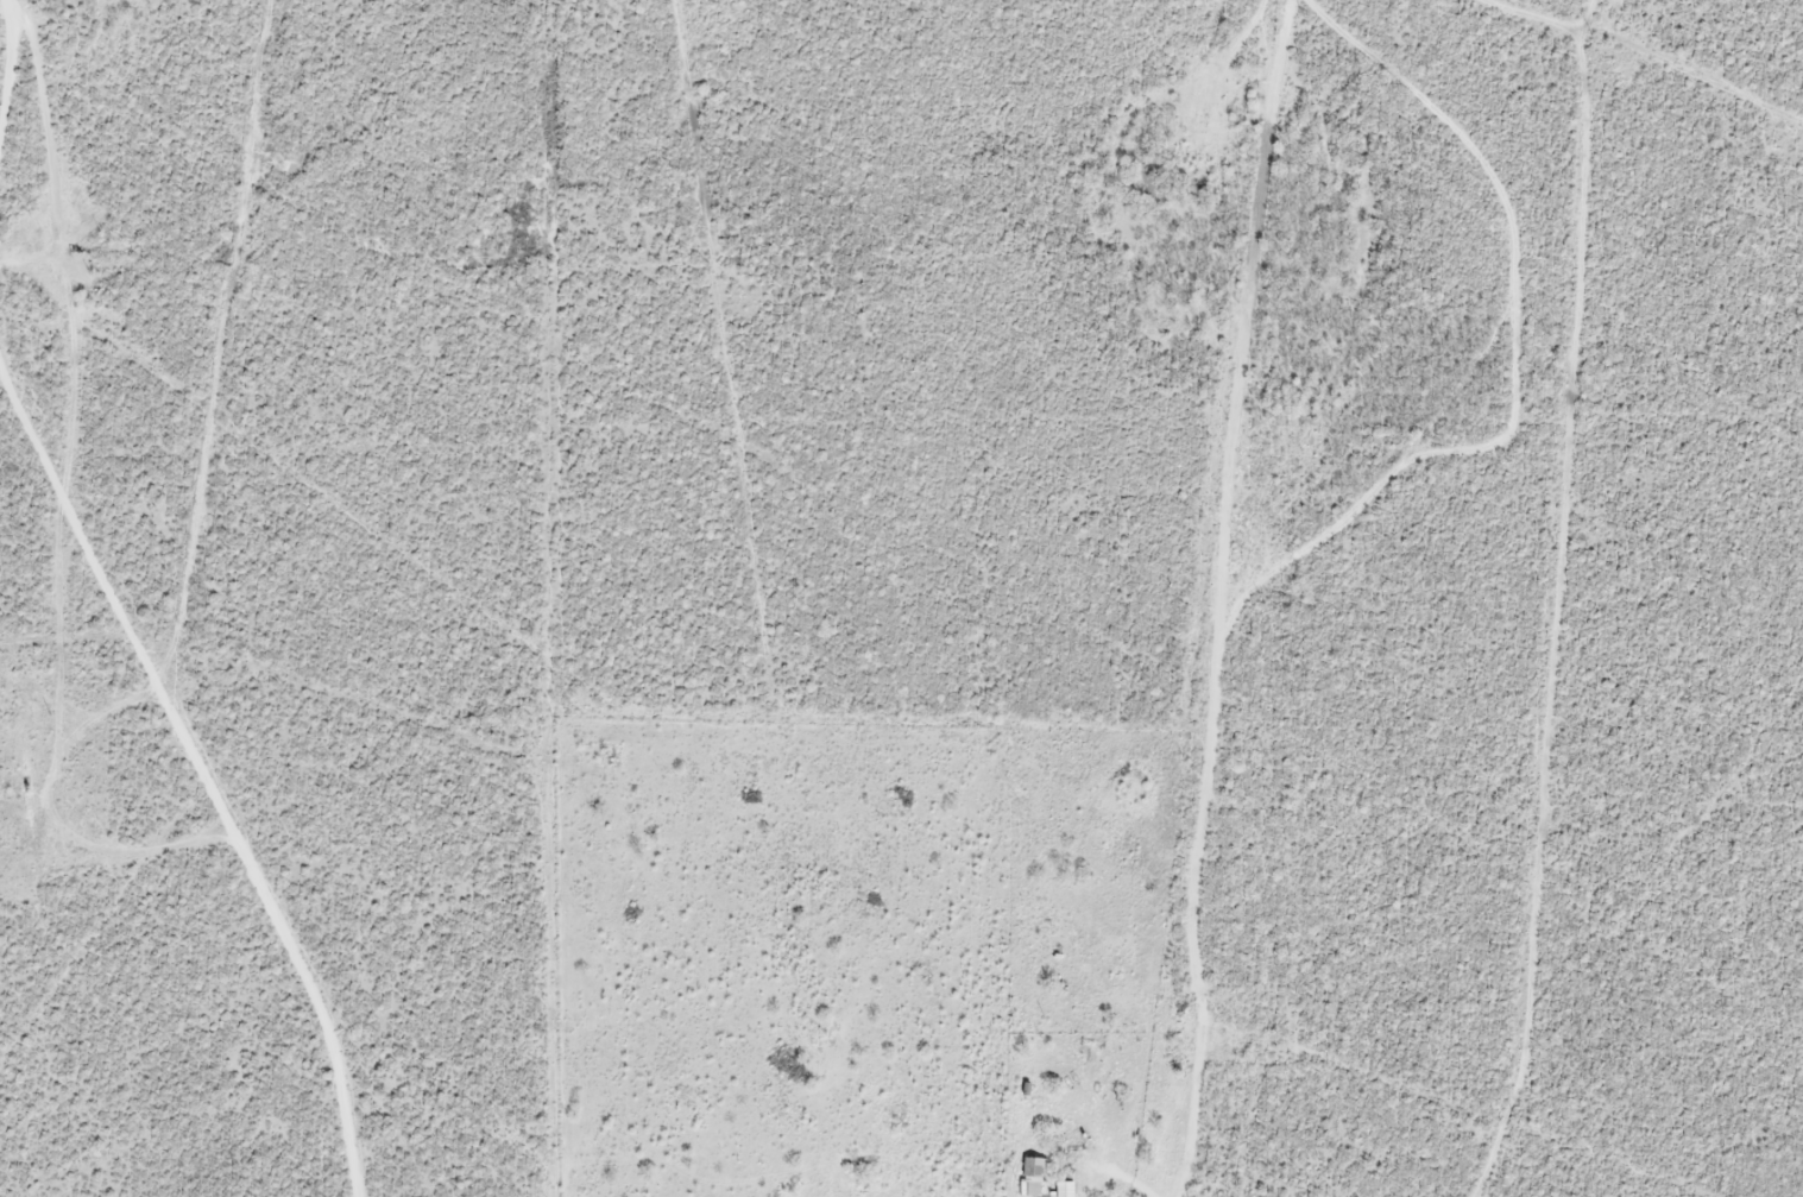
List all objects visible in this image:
road: (1502, 341)
road: (1229, 591)

